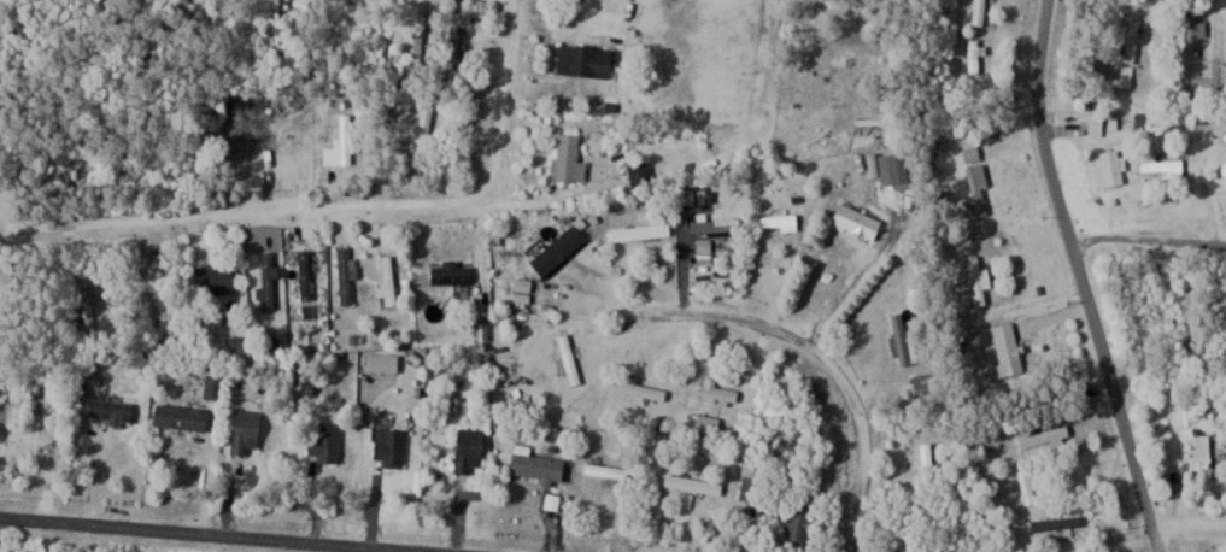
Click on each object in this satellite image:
building: (980, 11)
building: (1193, 34)
building: (1133, 39)
building: (708, 43)
building: (454, 46)
building: (976, 54)
building: (587, 60)
building: (837, 71)
building: (1124, 75)
building: (1220, 75)
road: (763, 87)
building: (1095, 119)
building: (1145, 122)
building: (426, 130)
building: (345, 136)
building: (569, 155)
building: (1161, 164)
building: (1114, 166)
building: (896, 169)
building: (641, 174)
building: (981, 188)
road: (352, 209)
building: (858, 219)
building: (780, 221)
building: (716, 224)
building: (643, 231)
road: (1150, 247)
building: (542, 253)
building: (453, 272)
building: (306, 274)
building: (346, 275)
building: (217, 276)
road: (1083, 277)
building: (269, 280)
building: (389, 280)
building: (978, 280)
building: (524, 289)
building: (88, 305)
building: (168, 318)
building: (905, 336)
building: (1009, 347)
building: (570, 358)
road: (819, 366)
building: (927, 382)
building: (644, 389)
building: (720, 392)
building: (113, 410)
building: (183, 416)
building: (248, 431)
building: (327, 442)
building: (393, 445)
building: (471, 448)
building: (1199, 451)
building: (928, 459)
building: (539, 465)
building: (611, 472)
building: (694, 482)
building: (1030, 483)
building: (752, 487)
building: (799, 523)
building: (1058, 523)
road: (1189, 527)
road: (198, 535)

